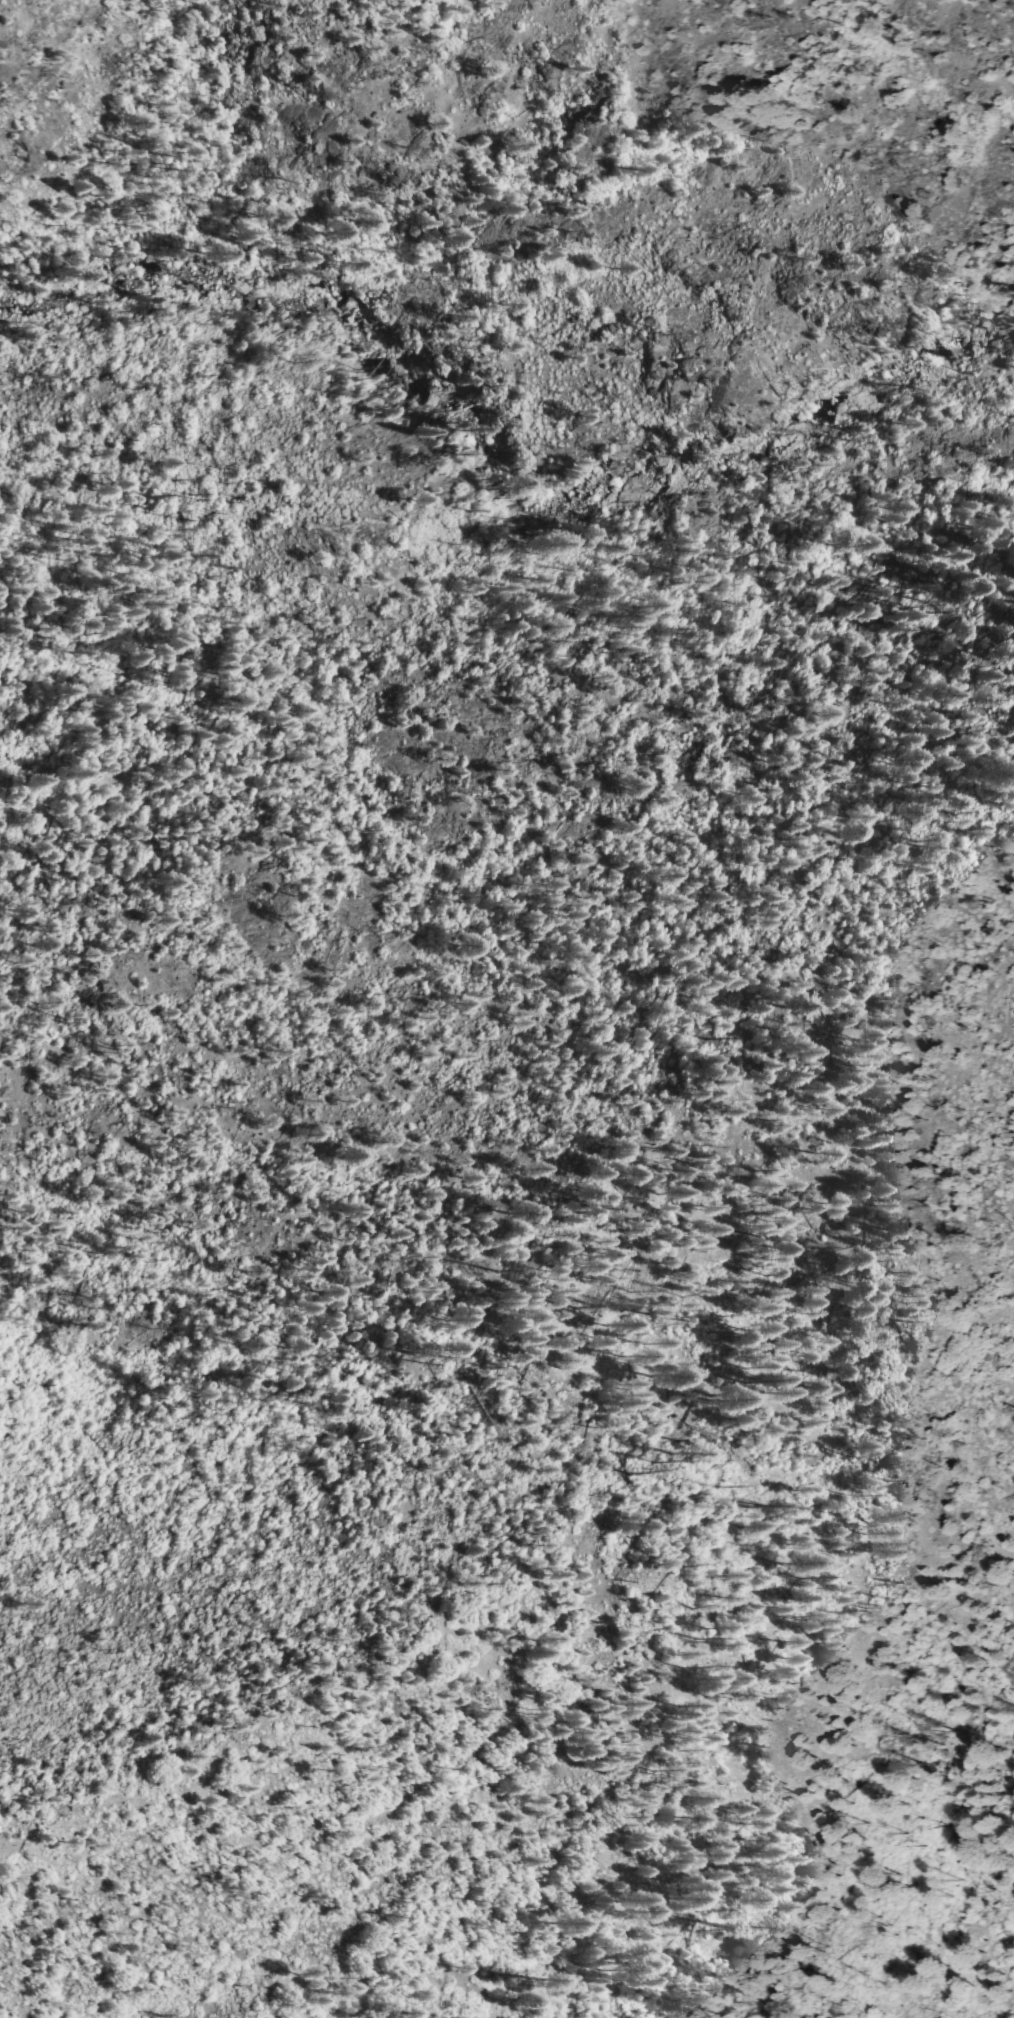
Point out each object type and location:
road: (1013, 2017)

